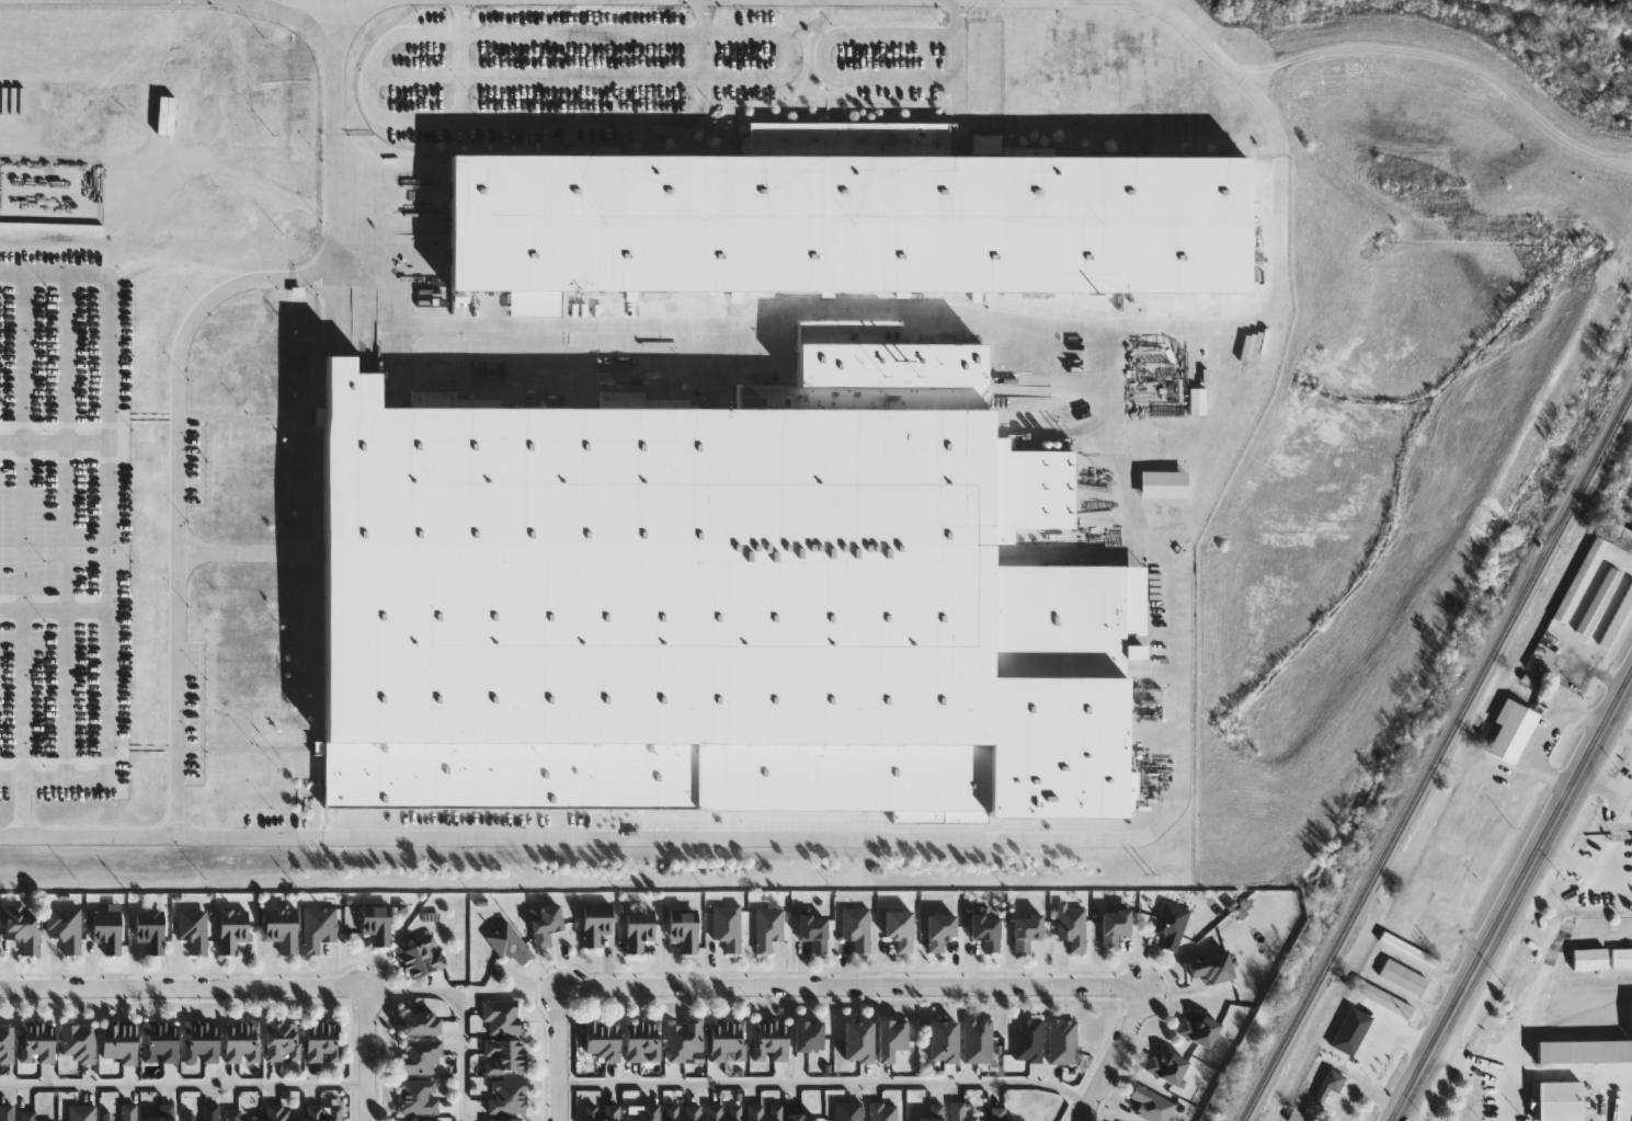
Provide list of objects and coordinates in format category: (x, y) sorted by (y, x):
road: (338, 0)
road: (705, 15)
road: (957, 18)
road: (524, 32)
road: (1196, 35)
road: (704, 55)
road: (795, 55)
road: (1450, 57)
road: (459, 60)
road: (829, 73)
road: (537, 78)
road: (536, 119)
building: (845, 217)
road: (296, 276)
road: (765, 347)
road: (52, 439)
road: (20, 523)
road: (61, 523)
road: (104, 524)
building: (1621, 537)
road: (176, 561)
building: (1582, 580)
building: (1600, 602)
building: (714, 603)
road: (52, 607)
building: (1618, 620)
road: (1620, 733)
building: (1519, 735)
railway: (1441, 758)
road: (1607, 783)
road: (21, 804)
road: (857, 827)
railway: (1487, 846)
road: (1587, 868)
road: (1515, 902)
building: (376, 924)
building: (544, 924)
building: (594, 924)
building: (1171, 924)
building: (727, 926)
building: (1114, 926)
building: (21, 927)
building: (65, 927)
building: (279, 927)
building: (318, 927)
building: (767, 927)
building: (856, 927)
building: (1072, 927)
building: (232, 928)
building: (899, 928)
building: (106, 929)
building: (149, 929)
building: (193, 929)
building: (638, 929)
building: (683, 929)
building: (939, 929)
building: (1026, 929)
building: (813, 930)
building: (985, 930)
road: (1567, 935)
building: (507, 943)
building: (1411, 951)
building: (420, 957)
building: (1591, 960)
building: (1622, 960)
building: (1211, 966)
building: (1405, 977)
road: (182, 986)
road: (851, 986)
building: (1384, 999)
road: (466, 1010)
building: (501, 1017)
building: (419, 1023)
building: (1199, 1030)
building: (807, 1036)
building: (602, 1039)
building: (890, 1039)
building: (1027, 1039)
building: (643, 1040)
building: (728, 1040)
building: (769, 1040)
building: (941, 1040)
building: (978, 1040)
building: (118, 1041)
building: (159, 1041)
building: (199, 1041)
building: (282, 1041)
building: (323, 1041)
building: (684, 1041)
building: (857, 1041)
building: (1062, 1041)
building: (5, 1042)
building: (36, 1042)
building: (77, 1042)
building: (241, 1042)
building: (1585, 1052)
road: (365, 1053)
road: (557, 1053)
road: (1109, 1053)
building: (504, 1056)
building: (420, 1057)
road: (1498, 1066)
building: (1167, 1067)
road: (822, 1084)
road: (183, 1085)
building: (1332, 1085)
building: (418, 1097)
building: (506, 1097)
road: (1609, 1098)
building: (1560, 1101)
building: (1151, 1105)
building: (847, 1111)
building: (5, 1112)
building: (81, 1112)
building: (321, 1112)
building: (603, 1112)
building: (683, 1112)
building: (722, 1112)
building: (763, 1112)
building: (882, 1112)
building: (960, 1112)
building: (122, 1113)
building: (161, 1113)
building: (204, 1113)
building: (282, 1113)
building: (643, 1113)
building: (933, 1113)
building: (998, 1114)
building: (28, 1116)
building: (233, 1116)
building: (800, 1117)
building: (1299, 1118)
building: (421, 1120)
building: (505, 1120)
road: (1400, 1120)

